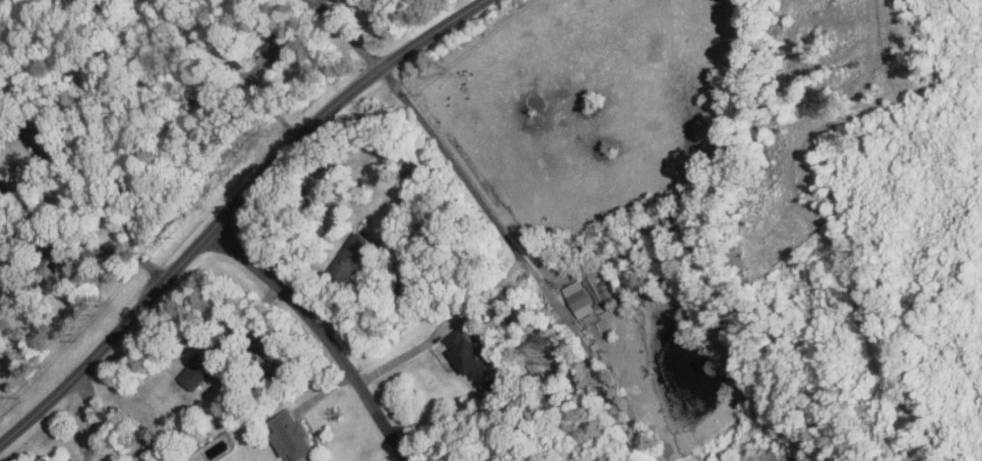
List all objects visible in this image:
road: (317, 11)
road: (346, 37)
road: (229, 208)
road: (509, 239)
road: (118, 250)
building: (357, 251)
building: (581, 297)
road: (332, 328)
building: (275, 347)
building: (470, 352)
building: (205, 365)
road: (89, 415)
building: (293, 434)

